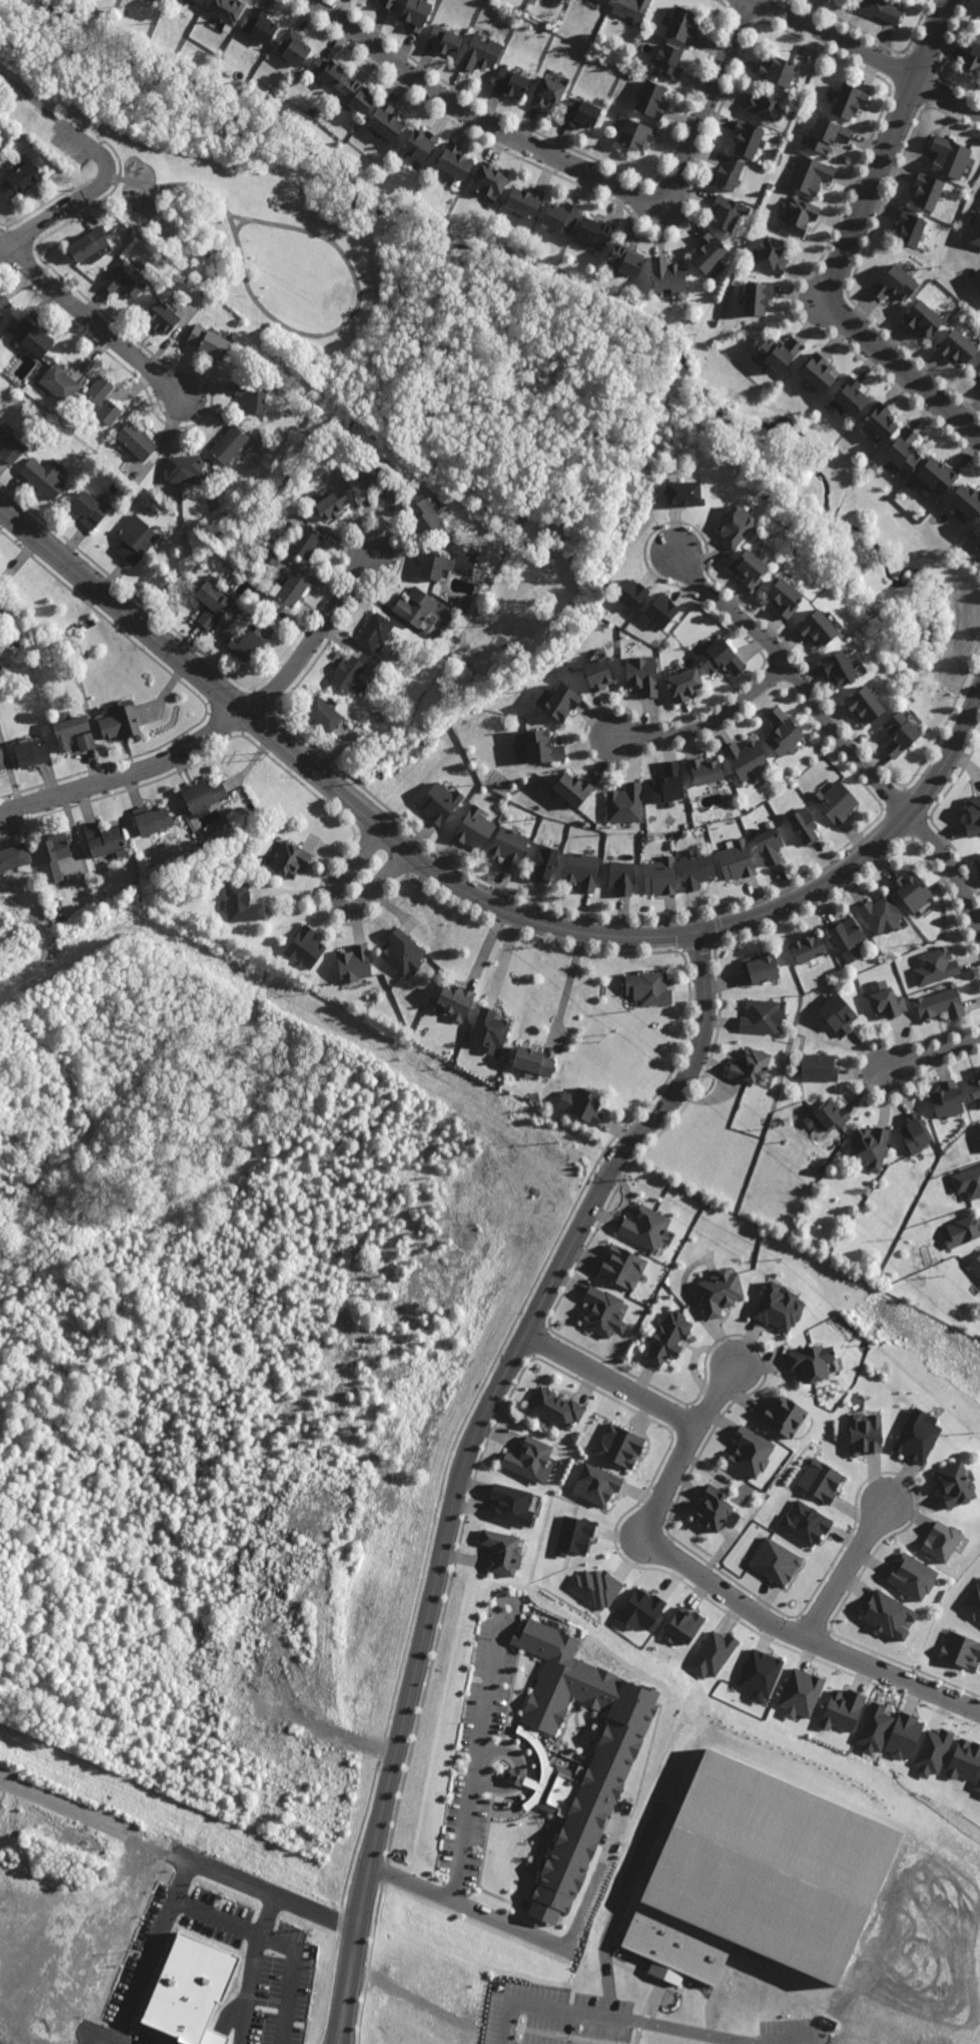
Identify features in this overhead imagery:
building: (158, 0)
building: (197, 1)
building: (603, 1)
building: (387, 4)
building: (517, 9)
building: (631, 9)
building: (881, 9)
building: (225, 12)
building: (415, 14)
building: (681, 25)
building: (259, 26)
building: (444, 40)
building: (292, 48)
building: (481, 53)
road: (867, 54)
building: (973, 56)
building: (668, 61)
building: (326, 71)
building: (777, 71)
building: (654, 74)
building: (512, 82)
building: (547, 93)
road: (29, 96)
building: (356, 96)
building: (651, 100)
building: (846, 101)
building: (763, 105)
building: (581, 113)
building: (384, 122)
road: (216, 134)
building: (827, 134)
building: (636, 135)
building: (747, 138)
parking lot: (71, 140)
building: (419, 145)
road: (102, 156)
building: (948, 158)
building: (39, 159)
building: (454, 162)
road: (211, 163)
road: (574, 165)
road: (302, 172)
building: (728, 173)
building: (809, 174)
building: (18, 176)
building: (487, 179)
road: (172, 186)
building: (926, 190)
building: (524, 199)
building: (726, 212)
building: (559, 215)
building: (797, 215)
park: (219, 222)
road: (39, 223)
road: (239, 227)
building: (908, 227)
building: (975, 228)
building: (593, 230)
road: (851, 239)
building: (86, 244)
building: (707, 251)
building: (772, 253)
building: (624, 258)
building: (666, 274)
building: (125, 279)
building: (894, 282)
building: (205, 294)
building: (756, 296)
building: (3, 298)
building: (0, 312)
road: (512, 313)
road: (430, 314)
building: (0, 315)
building: (161, 317)
building: (921, 317)
road: (92, 322)
road: (349, 323)
building: (31, 338)
building: (208, 341)
building: (955, 345)
building: (778, 351)
road: (391, 360)
building: (977, 368)
building: (817, 371)
building: (58, 382)
road: (615, 389)
road: (449, 392)
road: (564, 395)
building: (251, 396)
building: (850, 396)
building: (101, 401)
building: (877, 419)
building: (135, 440)
building: (229, 444)
building: (9, 446)
road: (590, 447)
building: (901, 450)
building: (183, 467)
building: (43, 475)
building: (934, 475)
building: (376, 481)
building: (683, 494)
building: (965, 500)
building: (331, 503)
building: (89, 508)
building: (424, 519)
building: (734, 526)
building: (976, 530)
building: (134, 538)
building: (304, 541)
building: (273, 557)
building: (433, 566)
building: (749, 568)
building: (288, 589)
building: (630, 594)
building: (210, 596)
building: (784, 598)
building: (256, 600)
building: (414, 606)
building: (5, 609)
building: (577, 610)
building: (661, 610)
building: (205, 619)
building: (815, 628)
building: (373, 631)
road: (163, 642)
building: (247, 642)
building: (720, 658)
building: (1, 667)
building: (836, 669)
building: (347, 675)
building: (641, 676)
building: (595, 677)
building: (682, 686)
building: (561, 705)
building: (862, 705)
building: (322, 714)
road: (711, 721)
building: (119, 723)
road: (219, 729)
building: (68, 732)
building: (782, 733)
building: (898, 734)
road: (839, 737)
building: (85, 743)
building: (542, 750)
building: (30, 756)
power tower: (266, 756)
building: (747, 761)
building: (1, 764)
building: (704, 772)
building: (667, 783)
building: (571, 790)
building: (203, 795)
building: (439, 802)
building: (836, 802)
building: (625, 803)
building: (972, 817)
building: (152, 818)
building: (804, 825)
building: (475, 827)
building: (105, 837)
building: (509, 844)
building: (770, 844)
building: (54, 853)
building: (13, 857)
building: (291, 859)
building: (544, 859)
building: (737, 859)
building: (978, 862)
building: (581, 867)
building: (697, 867)
building: (621, 874)
building: (660, 874)
building: (911, 891)
road: (340, 902)
building: (242, 903)
building: (881, 914)
road: (675, 933)
building: (846, 933)
building: (306, 947)
building: (808, 947)
building: (403, 952)
building: (354, 963)
building: (936, 966)
building: (761, 967)
road: (568, 981)
building: (653, 988)
building: (453, 999)
building: (888, 1003)
building: (941, 1003)
building: (838, 1014)
building: (762, 1016)
building: (490, 1028)
power tower: (599, 1040)
road: (934, 1056)
building: (532, 1060)
building: (751, 1066)
building: (819, 1067)
building: (979, 1071)
building: (975, 1088)
building: (948, 1100)
building: (584, 1105)
building: (832, 1114)
building: (979, 1129)
building: (916, 1133)
building: (844, 1135)
building: (870, 1147)
building: (848, 1154)
building: (968, 1182)
building: (644, 1227)
building: (963, 1230)
building: (976, 1265)
building: (622, 1267)
power tower: (866, 1267)
building: (718, 1292)
building: (778, 1307)
building: (602, 1311)
building: (668, 1337)
building: (810, 1362)
road: (610, 1380)
building: (555, 1408)
building: (783, 1416)
building: (864, 1433)
building: (917, 1435)
building: (620, 1446)
building: (749, 1452)
road: (463, 1457)
building: (528, 1458)
building: (820, 1480)
building: (596, 1484)
building: (953, 1484)
building: (512, 1504)
building: (715, 1510)
building: (804, 1523)
building: (574, 1536)
building: (940, 1541)
building: (502, 1552)
building: (774, 1561)
road: (847, 1568)
building: (911, 1577)
building: (596, 1587)
road: (717, 1589)
building: (972, 1602)
building: (640, 1609)
building: (887, 1615)
building: (682, 1626)
building: (960, 1650)
building: (712, 1654)
building: (759, 1675)
building: (800, 1694)
building: (842, 1710)
building: (904, 1736)
building: (932, 1752)
building: (964, 1760)
building: (608, 1767)
building: (517, 1776)
building: (978, 1785)
road: (472, 1796)
road: (175, 1861)
building: (712, 1882)
road: (215, 1918)
road: (566, 1942)
road: (140, 1976)
building: (190, 1990)
road: (559, 2010)
road: (698, 2032)

